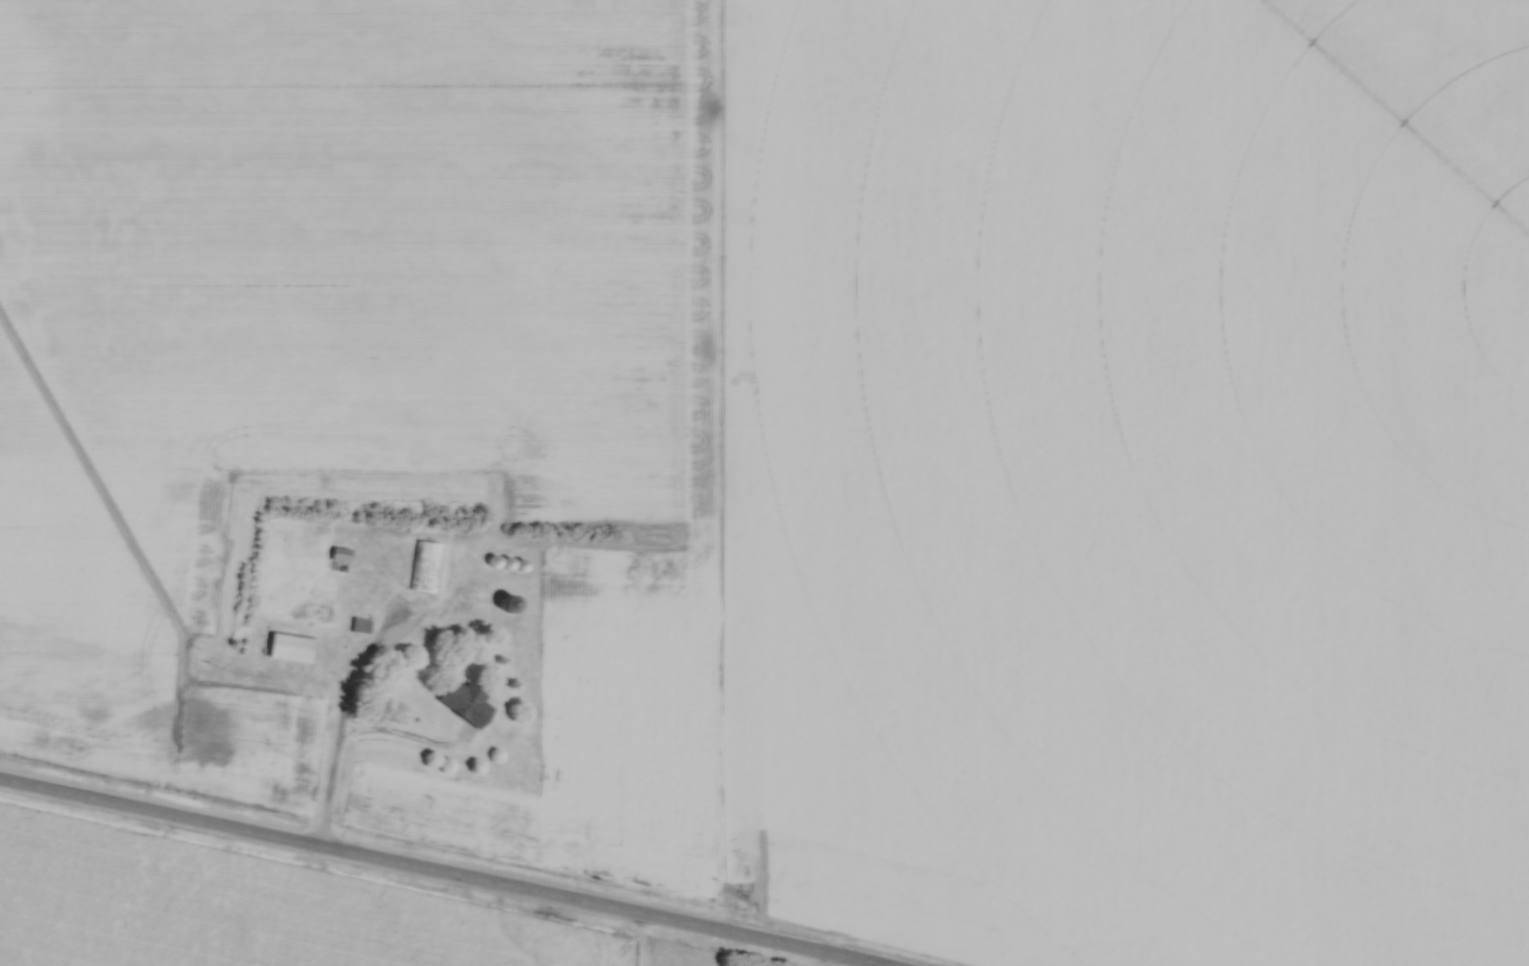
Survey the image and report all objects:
building: (341, 555)
building: (426, 568)
building: (490, 599)
building: (360, 626)
building: (291, 648)
building: (467, 703)
road: (346, 735)
road: (437, 873)

